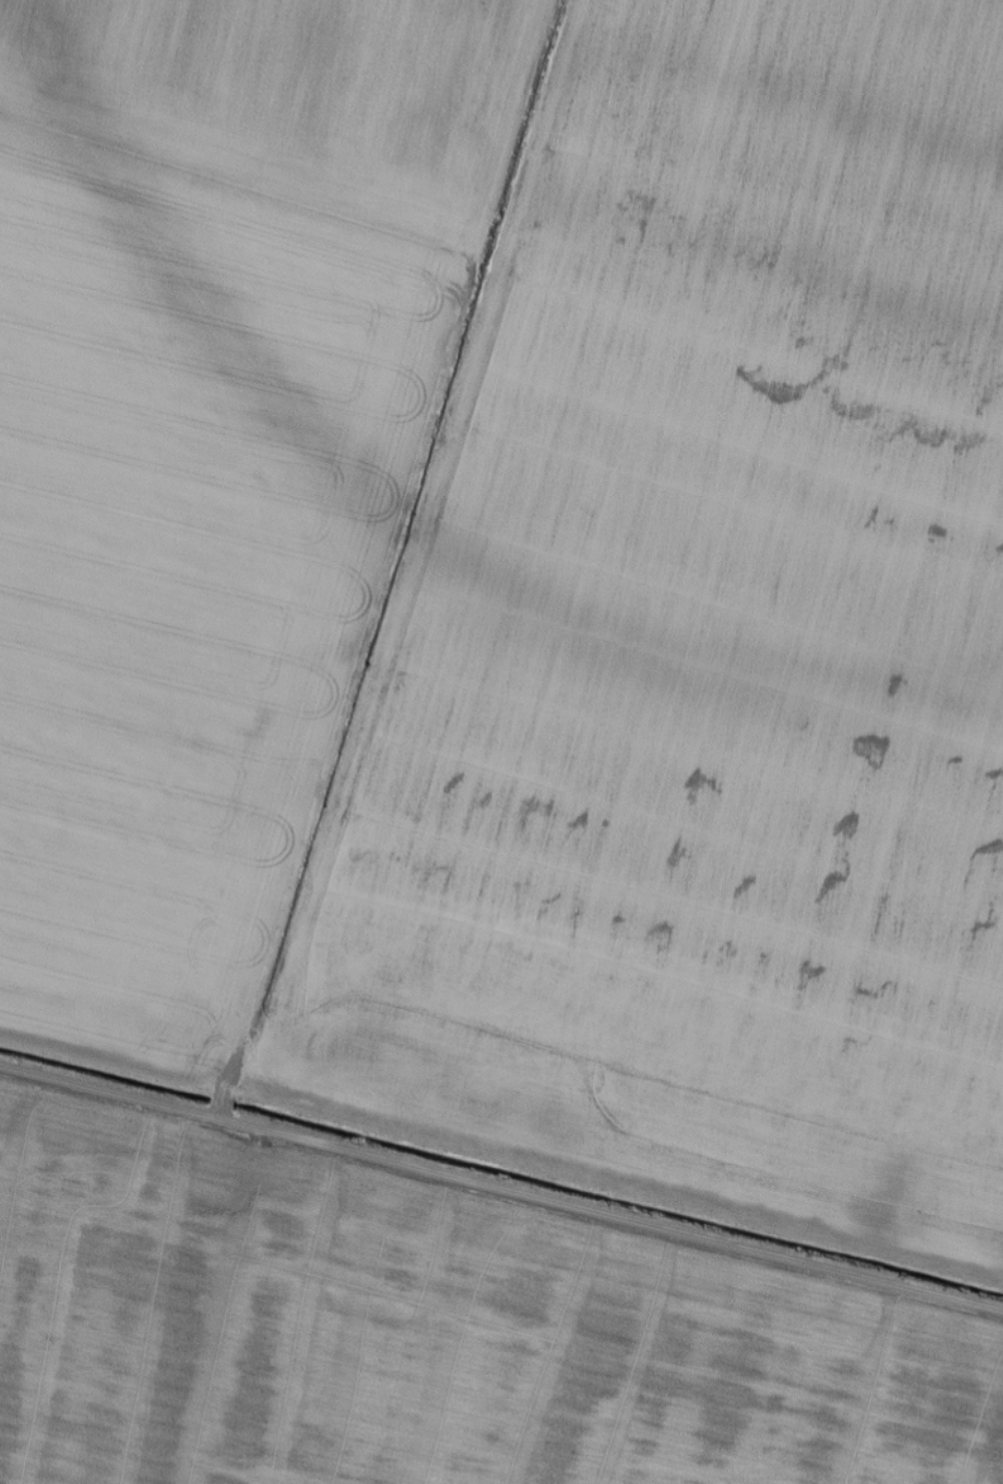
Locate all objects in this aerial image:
road: (501, 1189)
road: (229, 1306)

